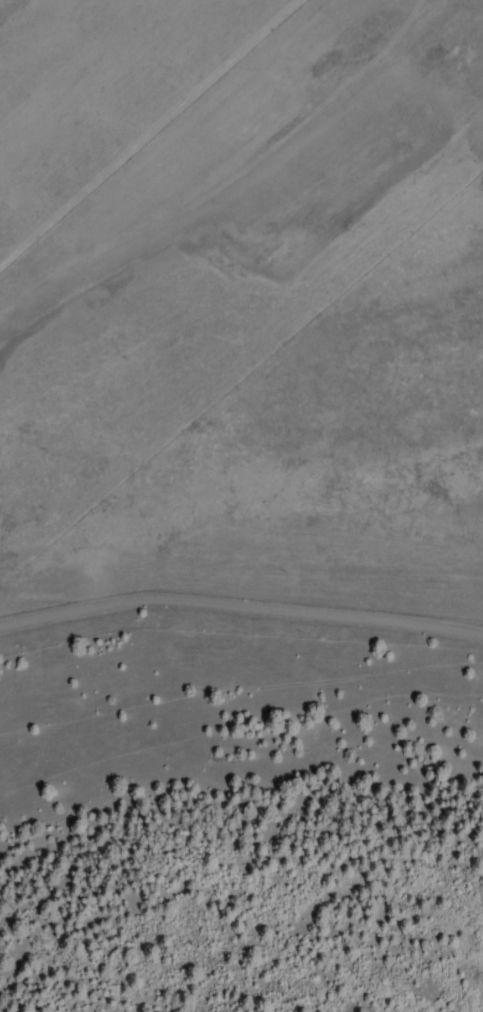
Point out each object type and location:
road: (240, 606)

